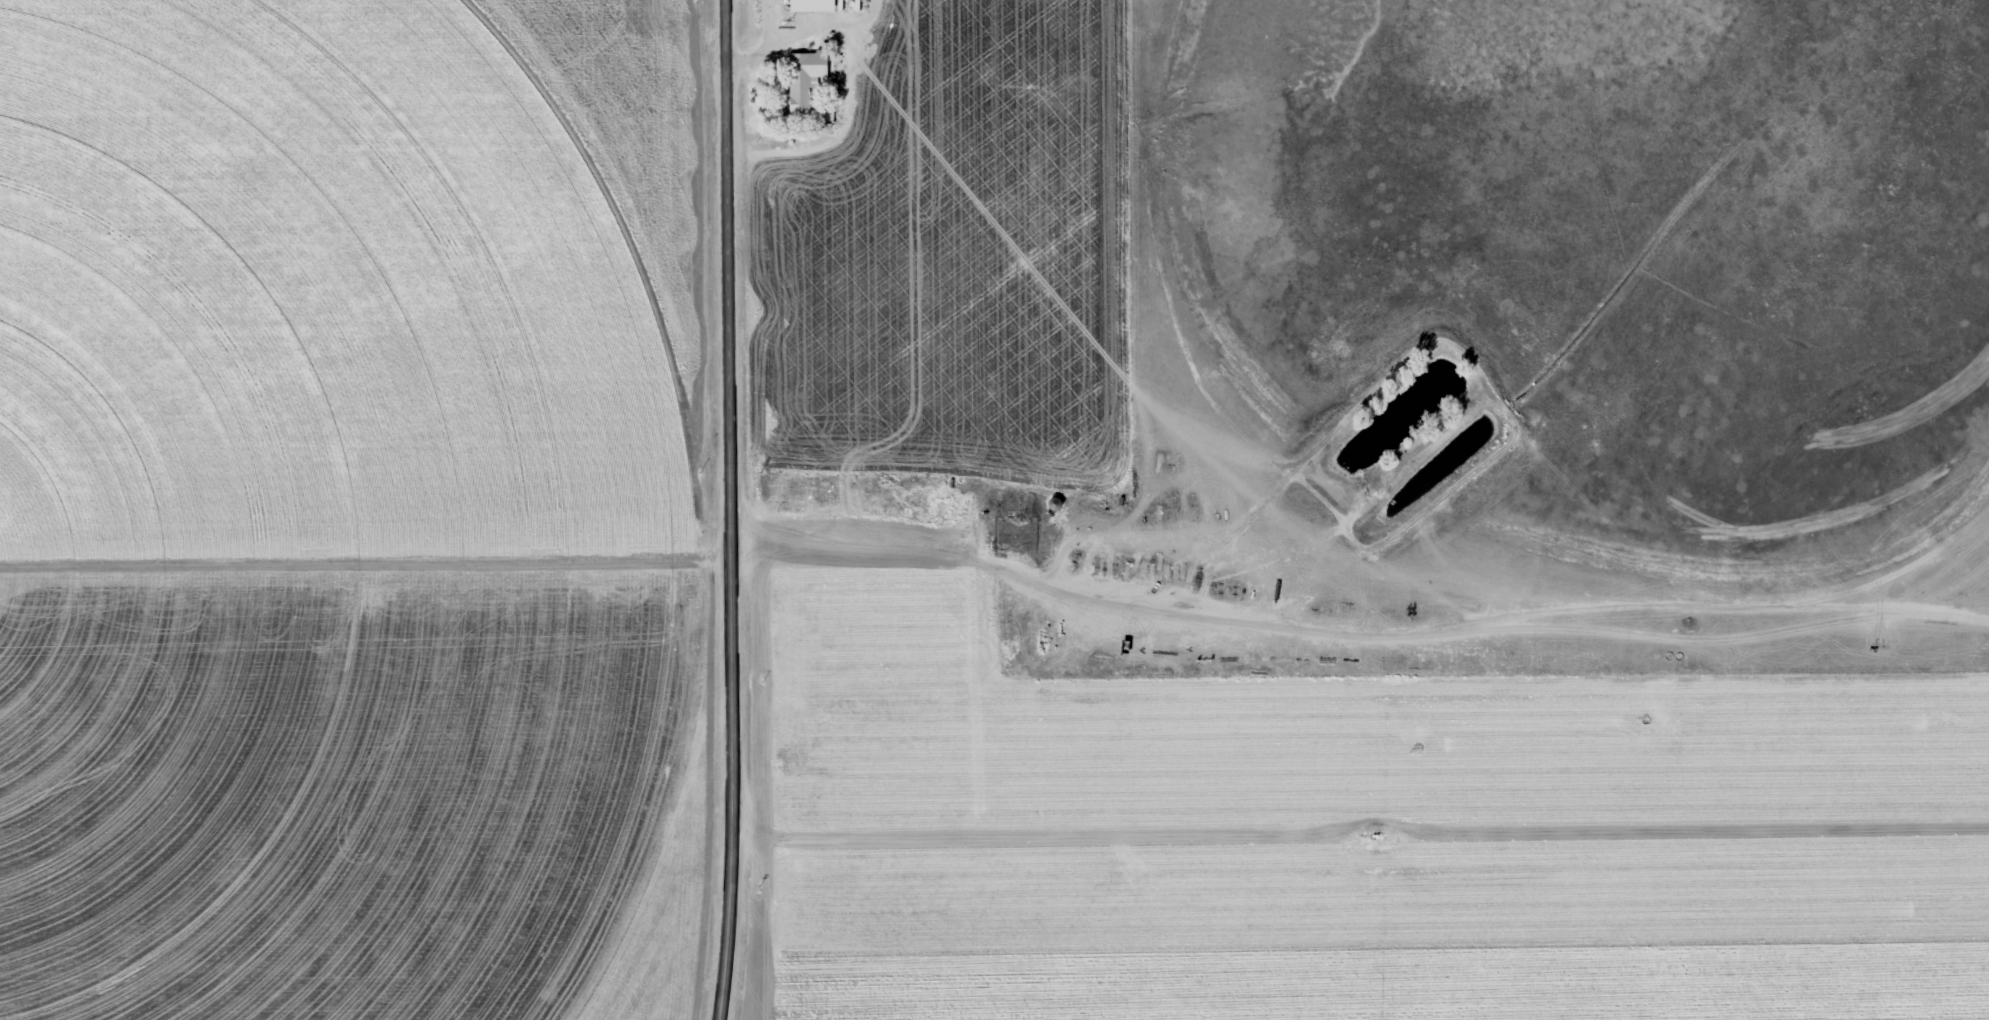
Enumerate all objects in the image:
building: (807, 6)
building: (801, 80)
building: (1050, 506)
road: (729, 510)

